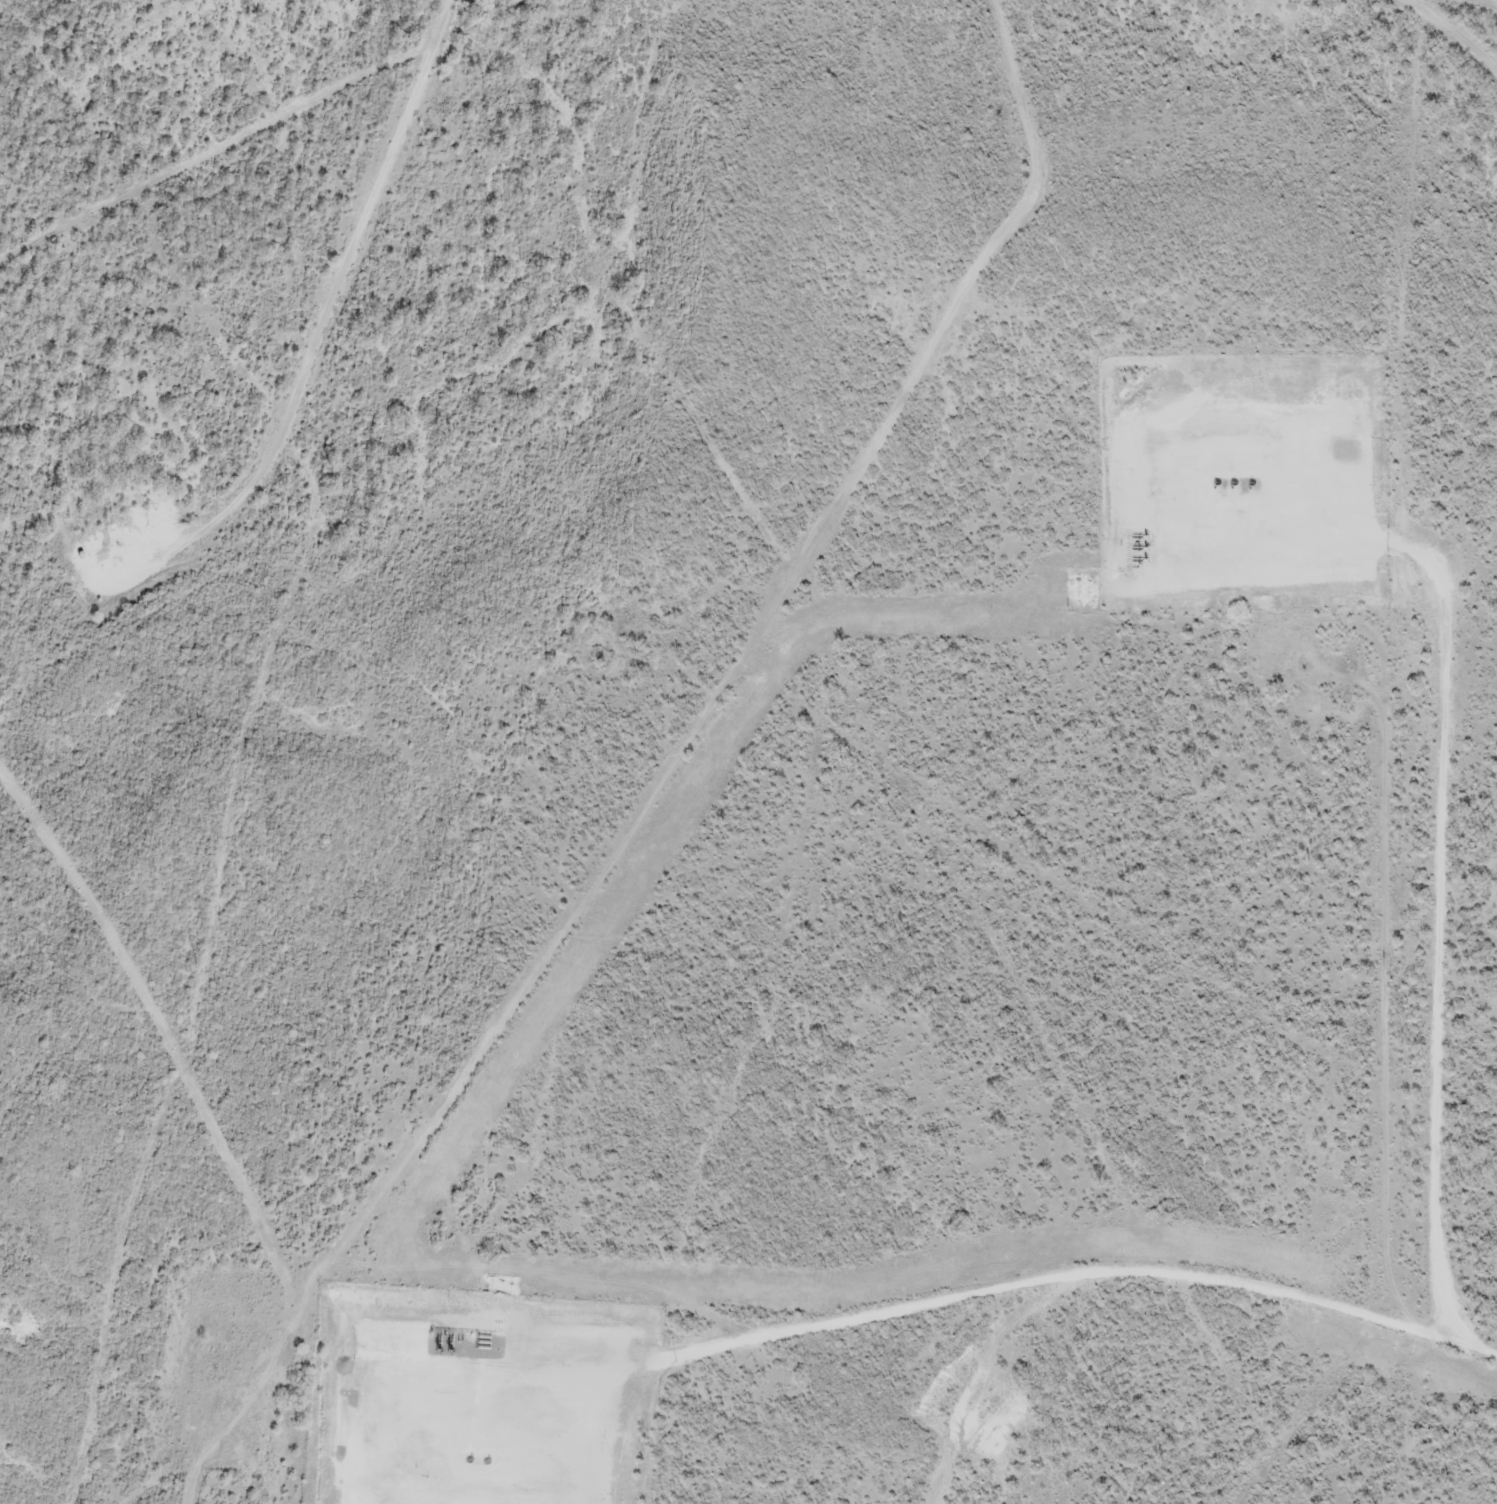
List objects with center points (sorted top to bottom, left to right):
road: (1438, 53)

